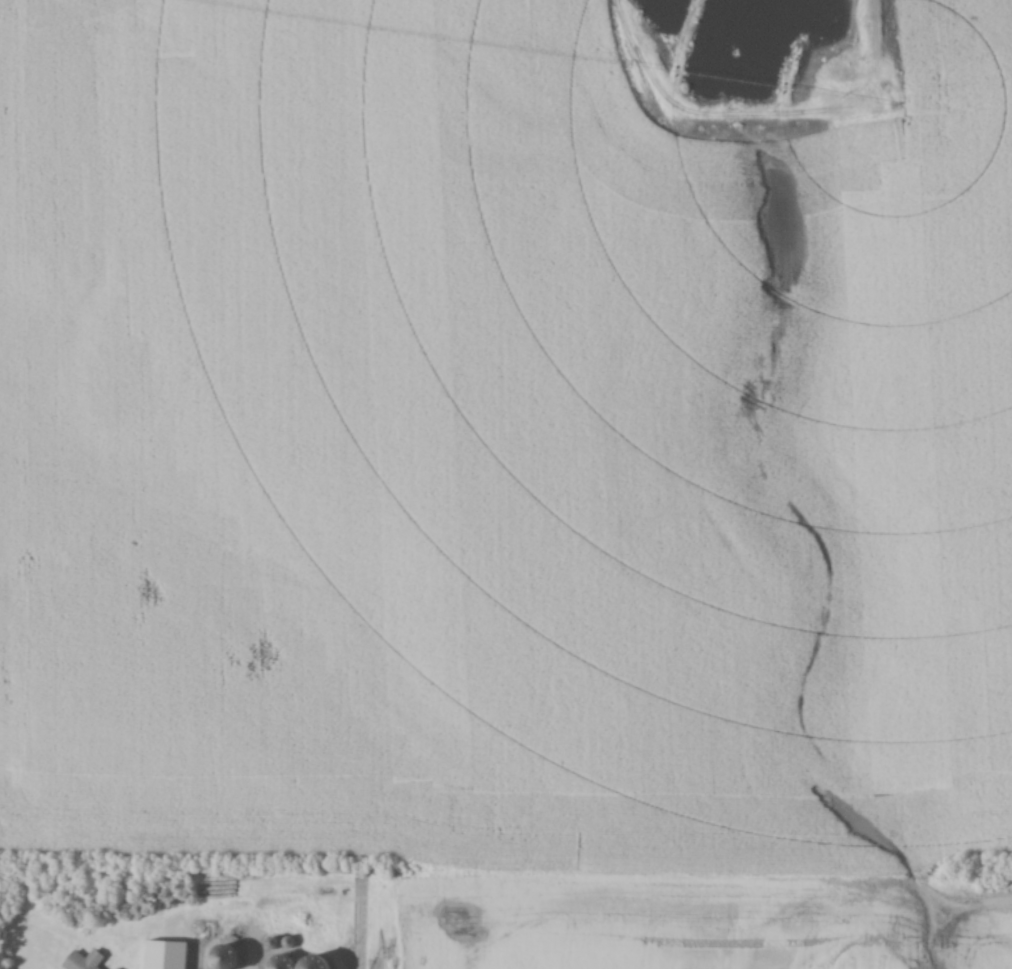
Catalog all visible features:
building: (167, 955)
building: (85, 961)
building: (224, 964)

